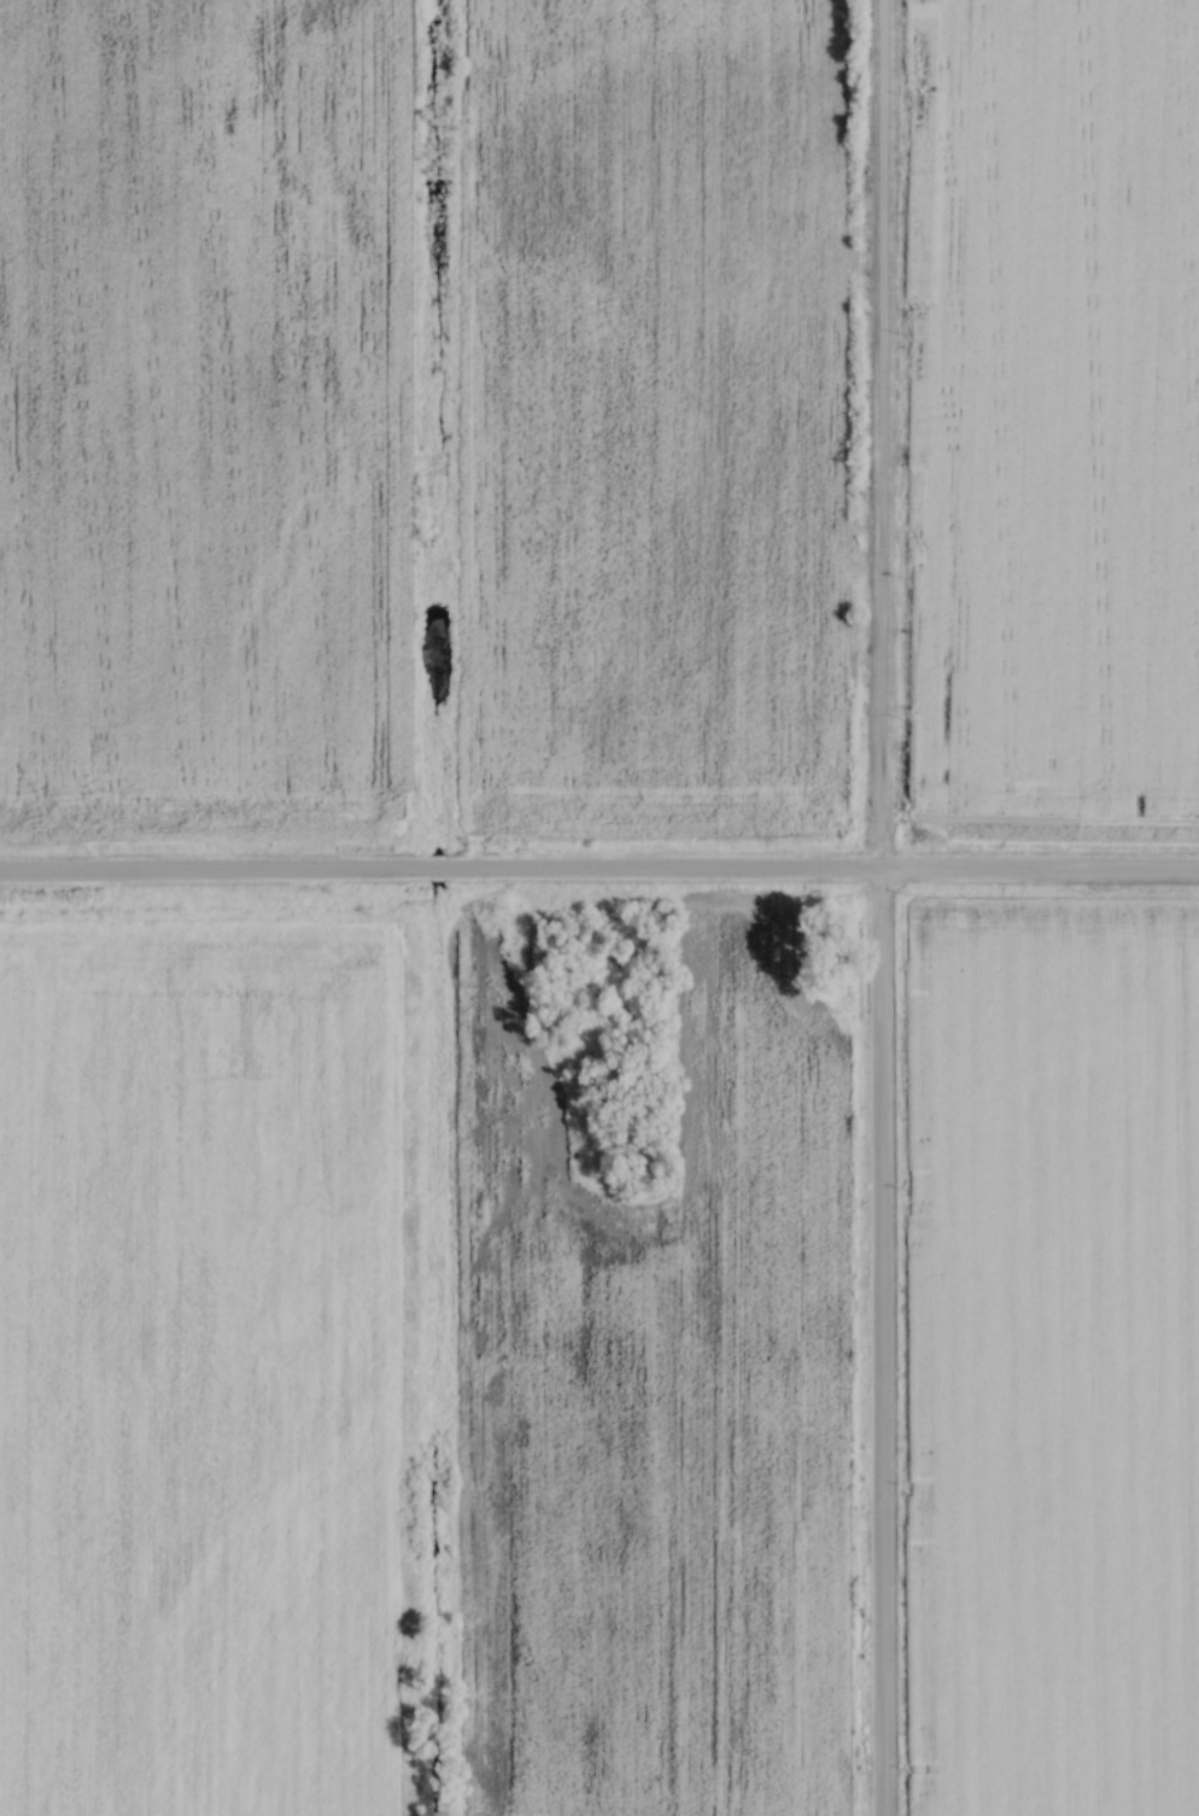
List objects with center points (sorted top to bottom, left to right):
river: (434, 427)
road: (598, 868)
river: (434, 869)
road: (876, 907)
river: (434, 1349)

